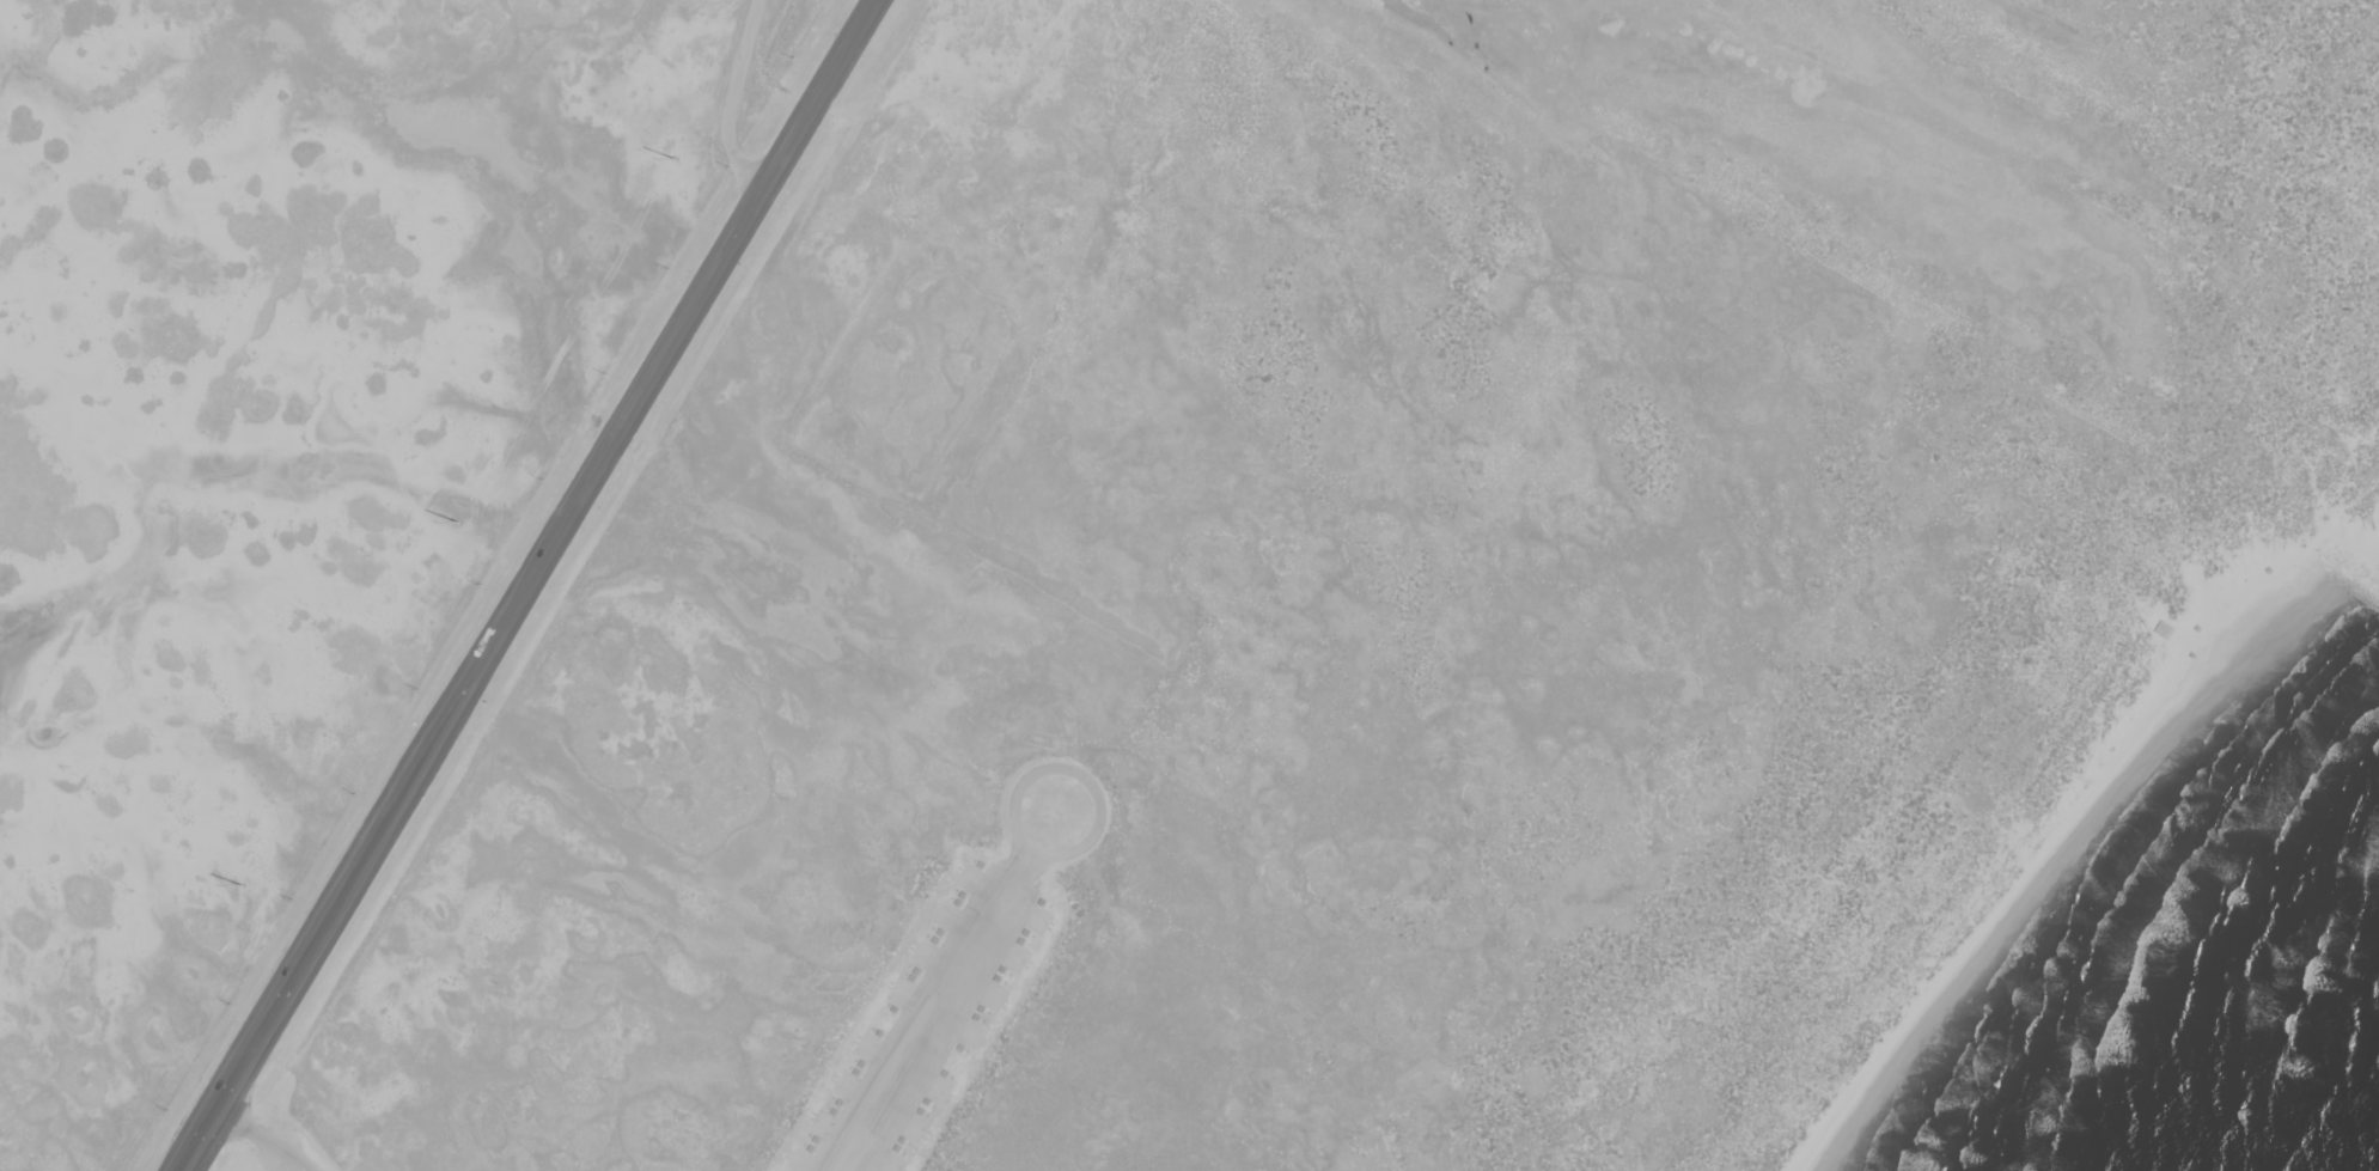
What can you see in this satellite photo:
road: (730, 104)
power tower: (673, 158)
park: (282, 444)
road: (581, 498)
power tower: (456, 518)
park: (1454, 616)
road: (1075, 776)
power tower: (239, 884)
road: (934, 1012)
road: (252, 1056)
road: (262, 1141)
road: (201, 1143)

